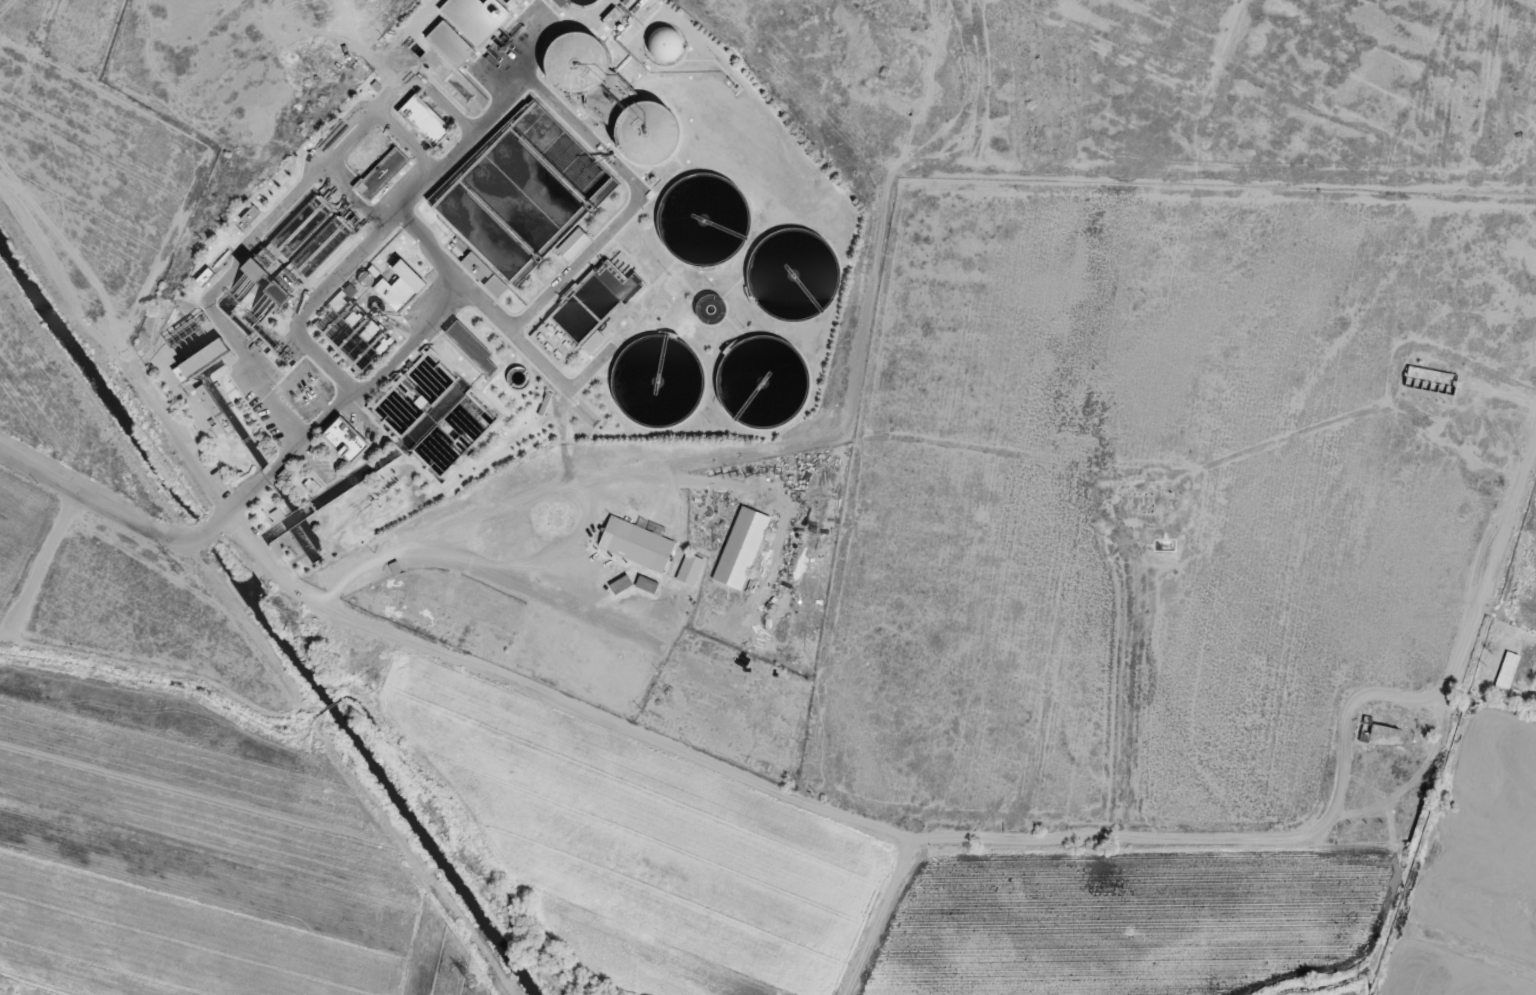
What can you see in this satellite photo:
wastewater plant: (496, 264)
power tower: (176, 567)
road: (1493, 567)
power tower: (467, 985)

